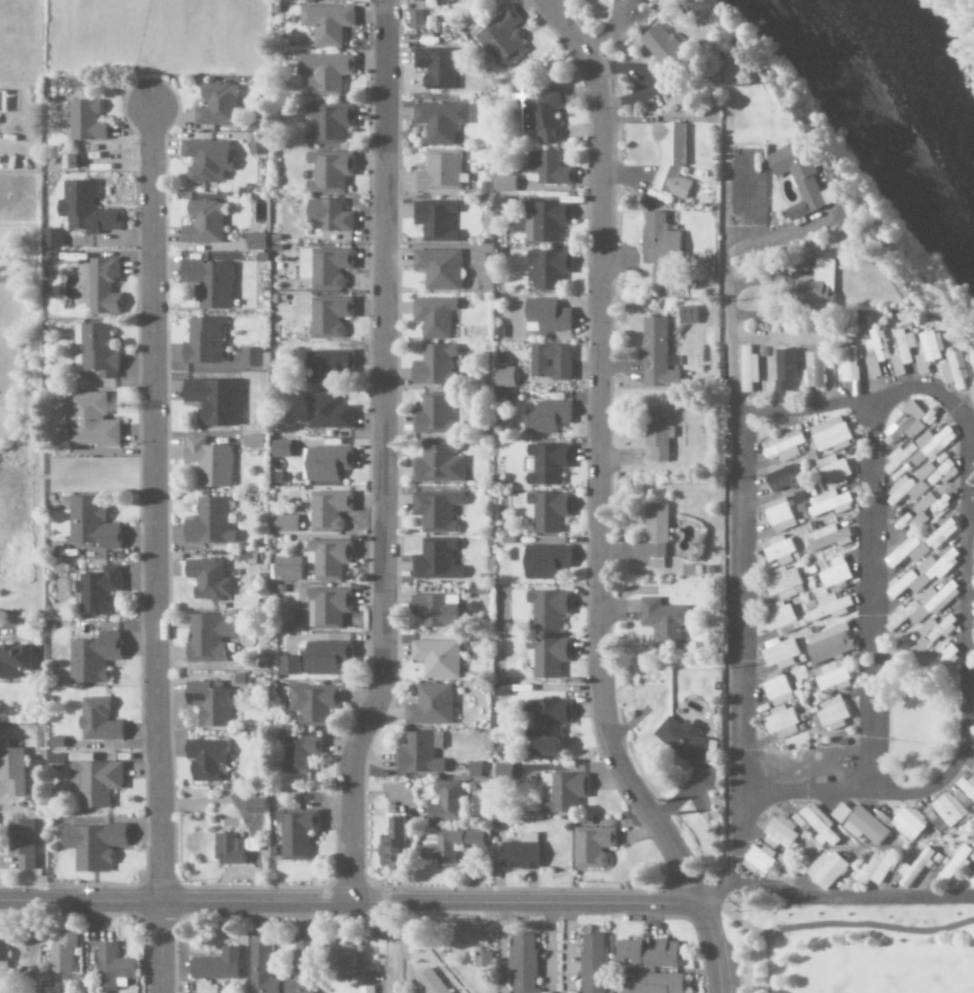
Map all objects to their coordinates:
building: (639, 1)
building: (439, 2)
building: (414, 17)
building: (324, 24)
building: (501, 39)
building: (659, 48)
building: (434, 68)
building: (322, 73)
river: (888, 92)
building: (216, 105)
building: (540, 113)
building: (84, 121)
building: (438, 121)
building: (327, 124)
building: (256, 145)
building: (671, 158)
building: (204, 161)
building: (546, 168)
building: (327, 171)
building: (437, 171)
building: (804, 179)
building: (503, 184)
building: (84, 208)
building: (327, 215)
building: (434, 220)
building: (544, 221)
building: (202, 223)
building: (51, 238)
building: (658, 240)
building: (254, 242)
road: (732, 267)
building: (328, 268)
building: (545, 268)
building: (437, 269)
building: (662, 278)
building: (207, 283)
building: (823, 285)
building: (102, 286)
building: (687, 315)
building: (328, 316)
building: (432, 316)
building: (544, 316)
building: (201, 341)
building: (882, 351)
building: (936, 351)
building: (909, 352)
building: (656, 355)
building: (251, 357)
building: (548, 362)
building: (326, 365)
building: (432, 365)
building: (852, 365)
building: (819, 367)
building: (749, 369)
building: (787, 370)
building: (961, 371)
building: (503, 377)
road: (858, 400)
building: (213, 401)
building: (326, 413)
building: (432, 414)
building: (546, 417)
building: (90, 421)
building: (915, 422)
building: (656, 433)
building: (832, 436)
building: (252, 441)
building: (783, 447)
building: (278, 449)
road: (380, 452)
road: (597, 456)
building: (208, 462)
building: (325, 463)
building: (437, 463)
building: (546, 463)
building: (906, 465)
building: (832, 471)
building: (781, 479)
building: (829, 503)
building: (927, 509)
building: (327, 510)
building: (434, 511)
building: (546, 511)
road: (972, 511)
building: (779, 516)
building: (209, 523)
building: (90, 524)
building: (285, 524)
building: (652, 536)
building: (828, 538)
building: (929, 540)
road: (152, 551)
building: (779, 551)
building: (328, 559)
building: (435, 560)
building: (543, 561)
building: (286, 568)
building: (690, 570)
building: (833, 573)
building: (925, 574)
building: (207, 579)
building: (783, 583)
building: (95, 590)
road: (870, 596)
building: (924, 606)
building: (327, 608)
building: (827, 608)
building: (547, 609)
building: (433, 611)
building: (782, 619)
building: (661, 621)
building: (938, 629)
building: (205, 638)
building: (828, 645)
building: (916, 645)
building: (779, 654)
building: (92, 657)
building: (325, 657)
building: (546, 657)
building: (436, 658)
building: (939, 660)
building: (13, 661)
road: (736, 663)
building: (287, 666)
building: (831, 677)
building: (778, 690)
building: (208, 703)
road: (965, 703)
building: (312, 704)
building: (429, 706)
building: (832, 713)
building: (96, 721)
building: (781, 723)
building: (545, 725)
building: (680, 740)
building: (299, 753)
building: (416, 755)
building: (204, 760)
building: (473, 770)
building: (13, 771)
building: (501, 771)
building: (94, 783)
building: (967, 788)
building: (561, 792)
building: (961, 797)
building: (444, 803)
building: (252, 806)
building: (948, 810)
building: (840, 813)
building: (908, 823)
building: (819, 826)
building: (865, 827)
building: (295, 834)
building: (780, 834)
building: (20, 843)
building: (391, 844)
building: (448, 845)
building: (91, 846)
building: (591, 847)
building: (227, 849)
building: (517, 856)
building: (758, 860)
building: (914, 869)
building: (826, 870)
building: (871, 871)
road: (350, 899)
road: (846, 899)
road: (732, 921)
road: (840, 924)
park: (847, 947)
road: (712, 948)
building: (3, 952)
building: (626, 952)
building: (63, 954)
building: (339, 954)
building: (661, 955)
road: (733, 959)
building: (521, 964)
building: (592, 964)
building: (215, 966)
building: (300, 967)
building: (112, 968)
building: (259, 968)
park: (889, 972)
building: (429, 982)
building: (650, 983)

